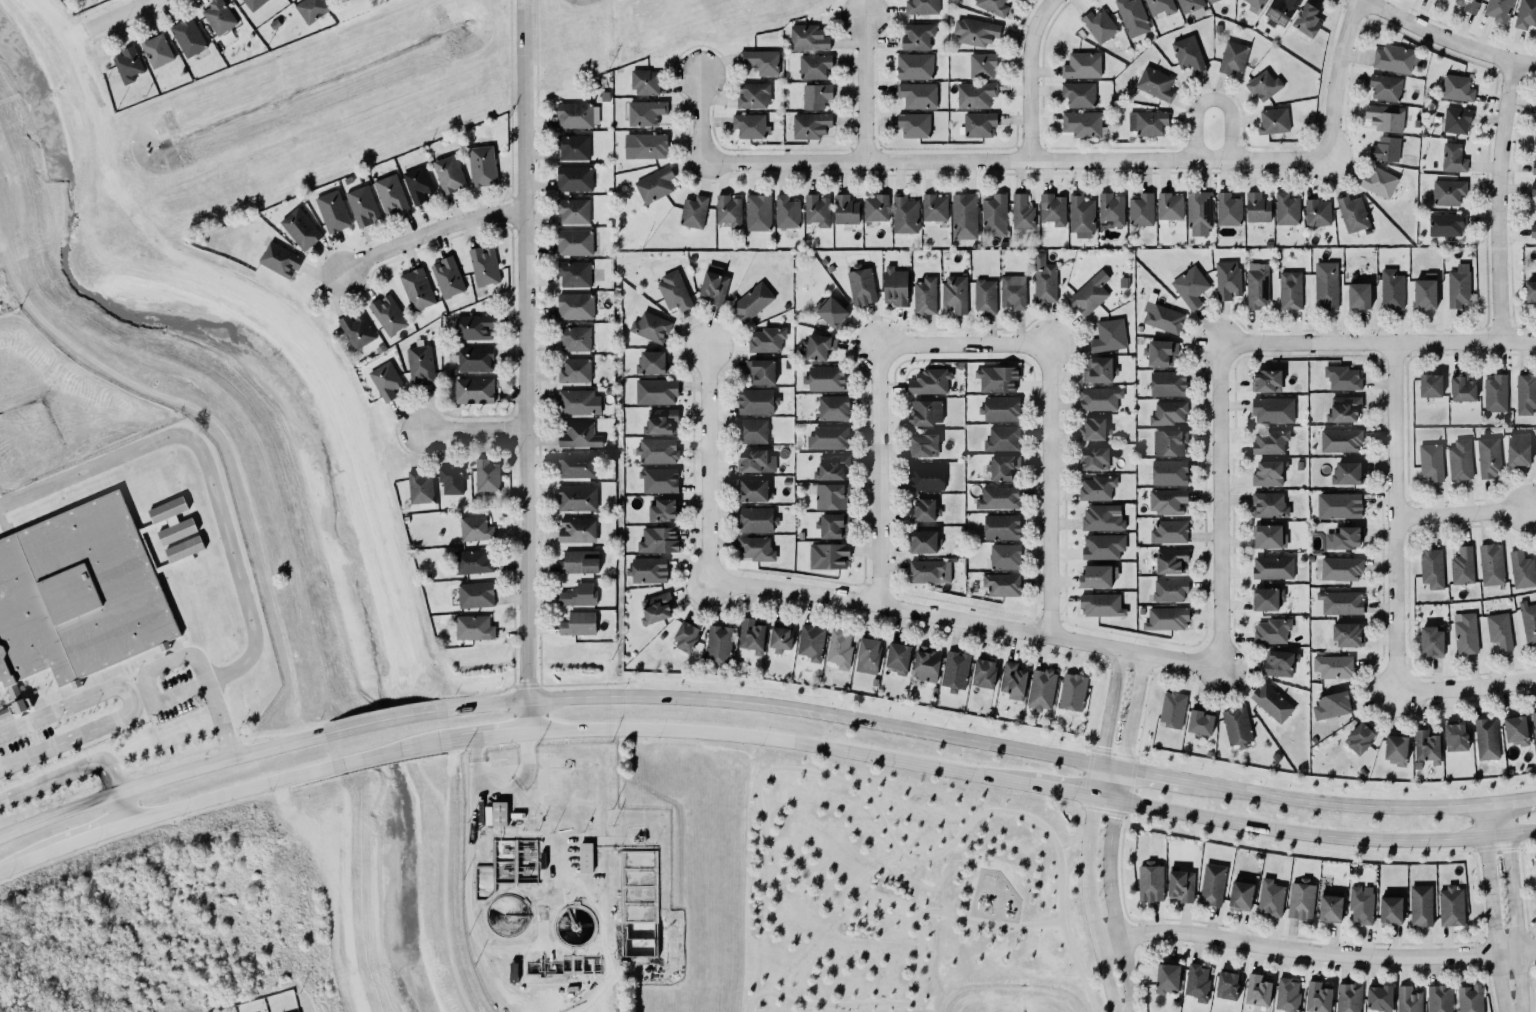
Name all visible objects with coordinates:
building: (1212, 1)
building: (253, 3)
building: (1257, 3)
building: (1189, 4)
building: (1468, 5)
building: (920, 6)
building: (993, 6)
building: (1160, 7)
building: (311, 8)
building: (1498, 9)
road: (126, 11)
building: (1280, 12)
building: (215, 14)
building: (1525, 14)
building: (1132, 17)
building: (1307, 20)
building: (1098, 24)
building: (975, 30)
building: (185, 34)
building: (916, 35)
building: (808, 38)
road: (1447, 40)
building: (156, 50)
building: (1187, 53)
building: (1233, 57)
building: (1394, 59)
building: (761, 62)
building: (128, 64)
building: (914, 65)
building: (1080, 65)
building: (814, 66)
building: (982, 66)
road: (1026, 74)
road: (1332, 74)
building: (645, 82)
building: (1154, 83)
road: (863, 85)
building: (1263, 85)
building: (1385, 87)
building: (1457, 88)
building: (974, 93)
building: (1077, 93)
building: (752, 94)
building: (917, 95)
building: (816, 96)
road: (1214, 97)
building: (645, 113)
building: (576, 114)
road: (698, 117)
building: (1385, 117)
building: (1273, 120)
building: (1456, 120)
building: (1145, 122)
building: (979, 124)
building: (1082, 124)
building: (811, 125)
building: (914, 125)
building: (751, 126)
building: (1534, 138)
building: (644, 145)
building: (573, 147)
building: (1385, 149)
road: (1011, 156)
building: (1452, 157)
building: (482, 166)
building: (1533, 167)
building: (449, 174)
building: (574, 179)
building: (652, 182)
building: (1379, 182)
building: (418, 184)
building: (1533, 190)
building: (1446, 191)
building: (390, 195)
road: (1495, 198)
building: (363, 206)
building: (1170, 206)
building: (1256, 206)
building: (933, 207)
building: (876, 208)
building: (1139, 208)
building: (1052, 209)
building: (1228, 209)
building: (1286, 209)
building: (692, 210)
building: (817, 210)
building: (845, 210)
building: (1110, 210)
building: (333, 211)
building: (573, 211)
building: (729, 211)
building: (1020, 211)
building: (1197, 211)
building: (758, 212)
building: (786, 212)
building: (1317, 212)
building: (1351, 212)
building: (905, 214)
building: (994, 215)
building: (1081, 215)
building: (964, 216)
building: (1446, 224)
building: (299, 228)
building: (1532, 230)
road: (427, 232)
building: (573, 241)
building: (280, 259)
building: (484, 265)
building: (574, 274)
building: (447, 277)
building: (1044, 279)
building: (1227, 280)
building: (860, 284)
building: (1326, 284)
building: (713, 285)
building: (1189, 285)
building: (1458, 285)
building: (895, 286)
building: (1257, 286)
building: (1391, 288)
building: (416, 289)
building: (1289, 289)
building: (672, 290)
building: (1011, 290)
building: (1424, 292)
building: (1530, 292)
building: (954, 293)
building: (1090, 294)
building: (1359, 295)
building: (925, 296)
building: (985, 296)
building: (750, 301)
building: (574, 305)
building: (830, 311)
building: (387, 314)
building: (1161, 317)
building: (472, 326)
building: (651, 327)
building: (356, 330)
building: (1108, 334)
building: (575, 338)
building: (766, 338)
road: (1375, 340)
road: (960, 342)
building: (819, 346)
building: (1159, 351)
building: (473, 358)
building: (652, 362)
road: (530, 363)
building: (420, 365)
building: (1096, 368)
building: (573, 369)
building: (760, 371)
building: (823, 377)
building: (1341, 377)
building: (997, 378)
building: (385, 380)
building: (1267, 381)
building: (929, 382)
building: (1168, 383)
building: (1430, 384)
building: (1461, 387)
building: (474, 390)
building: (656, 391)
building: (1495, 393)
building: (1525, 393)
building: (1099, 398)
building: (577, 401)
building: (756, 401)
building: (999, 407)
building: (833, 408)
building: (1272, 409)
building: (1344, 409)
building: (925, 412)
building: (1168, 413)
building: (661, 422)
road: (470, 425)
building: (1092, 428)
building: (752, 431)
building: (578, 434)
building: (1001, 437)
building: (828, 438)
building: (1339, 439)
building: (1270, 441)
building: (1169, 442)
building: (921, 444)
building: (1518, 449)
building: (655, 450)
building: (1489, 457)
building: (1095, 459)
building: (1459, 459)
road: (705, 461)
building: (756, 461)
building: (1431, 462)
building: (575, 464)
building: (1001, 465)
building: (831, 467)
road: (875, 471)
building: (1168, 471)
building: (1267, 472)
road: (207, 473)
building: (1345, 473)
building: (487, 475)
building: (925, 476)
building: (658, 478)
building: (451, 480)
building: (1097, 487)
building: (420, 488)
road: (1046, 488)
building: (754, 490)
building: (831, 496)
building: (577, 497)
building: (998, 498)
building: (1166, 499)
building: (1269, 505)
building: (1339, 505)
road: (1218, 506)
building: (662, 508)
building: (923, 509)
road: (1460, 511)
road: (1392, 514)
building: (1100, 516)
building: (755, 518)
building: (833, 525)
building: (1000, 525)
building: (475, 528)
building: (577, 528)
building: (1167, 530)
building: (1269, 536)
building: (1343, 538)
building: (659, 540)
building: (924, 542)
building: (1103, 546)
building: (754, 547)
building: (827, 554)
building: (1005, 556)
building: (1171, 560)
building: (579, 561)
building: (472, 562)
building: (1491, 564)
building: (1461, 565)
building: (1431, 567)
building: (1273, 568)
building: (1520, 568)
building: (1341, 569)
building: (648, 570)
building: (930, 571)
building: (1098, 576)
building: (1002, 584)
building: (1170, 590)
building: (78, 592)
building: (475, 595)
building: (578, 595)
building: (1267, 599)
building: (1341, 602)
building: (1100, 604)
building: (656, 608)
road: (964, 618)
building: (1167, 619)
building: (1528, 622)
building: (578, 624)
building: (472, 627)
building: (1498, 629)
building: (1270, 630)
building: (1465, 633)
building: (1347, 634)
building: (751, 635)
building: (685, 636)
building: (780, 636)
building: (716, 639)
building: (1432, 640)
building: (811, 642)
building: (837, 648)
building: (867, 651)
building: (898, 657)
road: (175, 660)
building: (1279, 663)
building: (927, 664)
building: (1333, 666)
building: (955, 670)
building: (984, 673)
building: (1012, 680)
road: (1464, 687)
building: (1042, 689)
building: (1072, 692)
road: (608, 698)
building: (1272, 702)
building: (1333, 703)
road: (131, 704)
building: (1172, 709)
building: (5, 714)
road: (385, 718)
building: (1200, 721)
building: (1534, 724)
building: (1237, 726)
road: (599, 728)
building: (1515, 729)
building: (1454, 736)
road: (945, 737)
building: (1360, 738)
building: (1485, 738)
building: (1427, 746)
building: (1395, 749)
road: (388, 752)
road: (892, 758)
road: (217, 760)
road: (778, 766)
road: (1150, 773)
road: (64, 774)
road: (503, 789)
road: (1060, 790)
road: (228, 793)
road: (1512, 802)
road: (1332, 805)
road: (117, 806)
road: (1079, 807)
road: (1103, 808)
road: (56, 813)
building: (499, 813)
road: (1126, 815)
road: (1149, 816)
road: (1088, 830)
road: (1075, 832)
road: (1112, 832)
road: (1313, 835)
road: (61, 845)
building: (586, 857)
road: (1119, 872)
building: (1149, 881)
building: (1211, 884)
building: (1179, 885)
park: (908, 891)
building: (1239, 895)
building: (1270, 898)
building: (1301, 900)
building: (1360, 904)
building: (1420, 905)
building: (1451, 906)
road: (1512, 906)
building: (1330, 907)
road: (1491, 908)
building: (1391, 910)
road: (1137, 922)
road: (982, 923)
road: (1137, 933)
road: (1139, 943)
road: (1315, 952)
building: (1167, 978)
building: (1196, 981)
building: (1226, 985)
building: (1256, 990)
building: (1286, 995)
building: (1317, 997)
building: (1347, 997)
building: (1379, 998)
building: (1439, 998)
building: (1470, 998)
building: (1407, 999)

